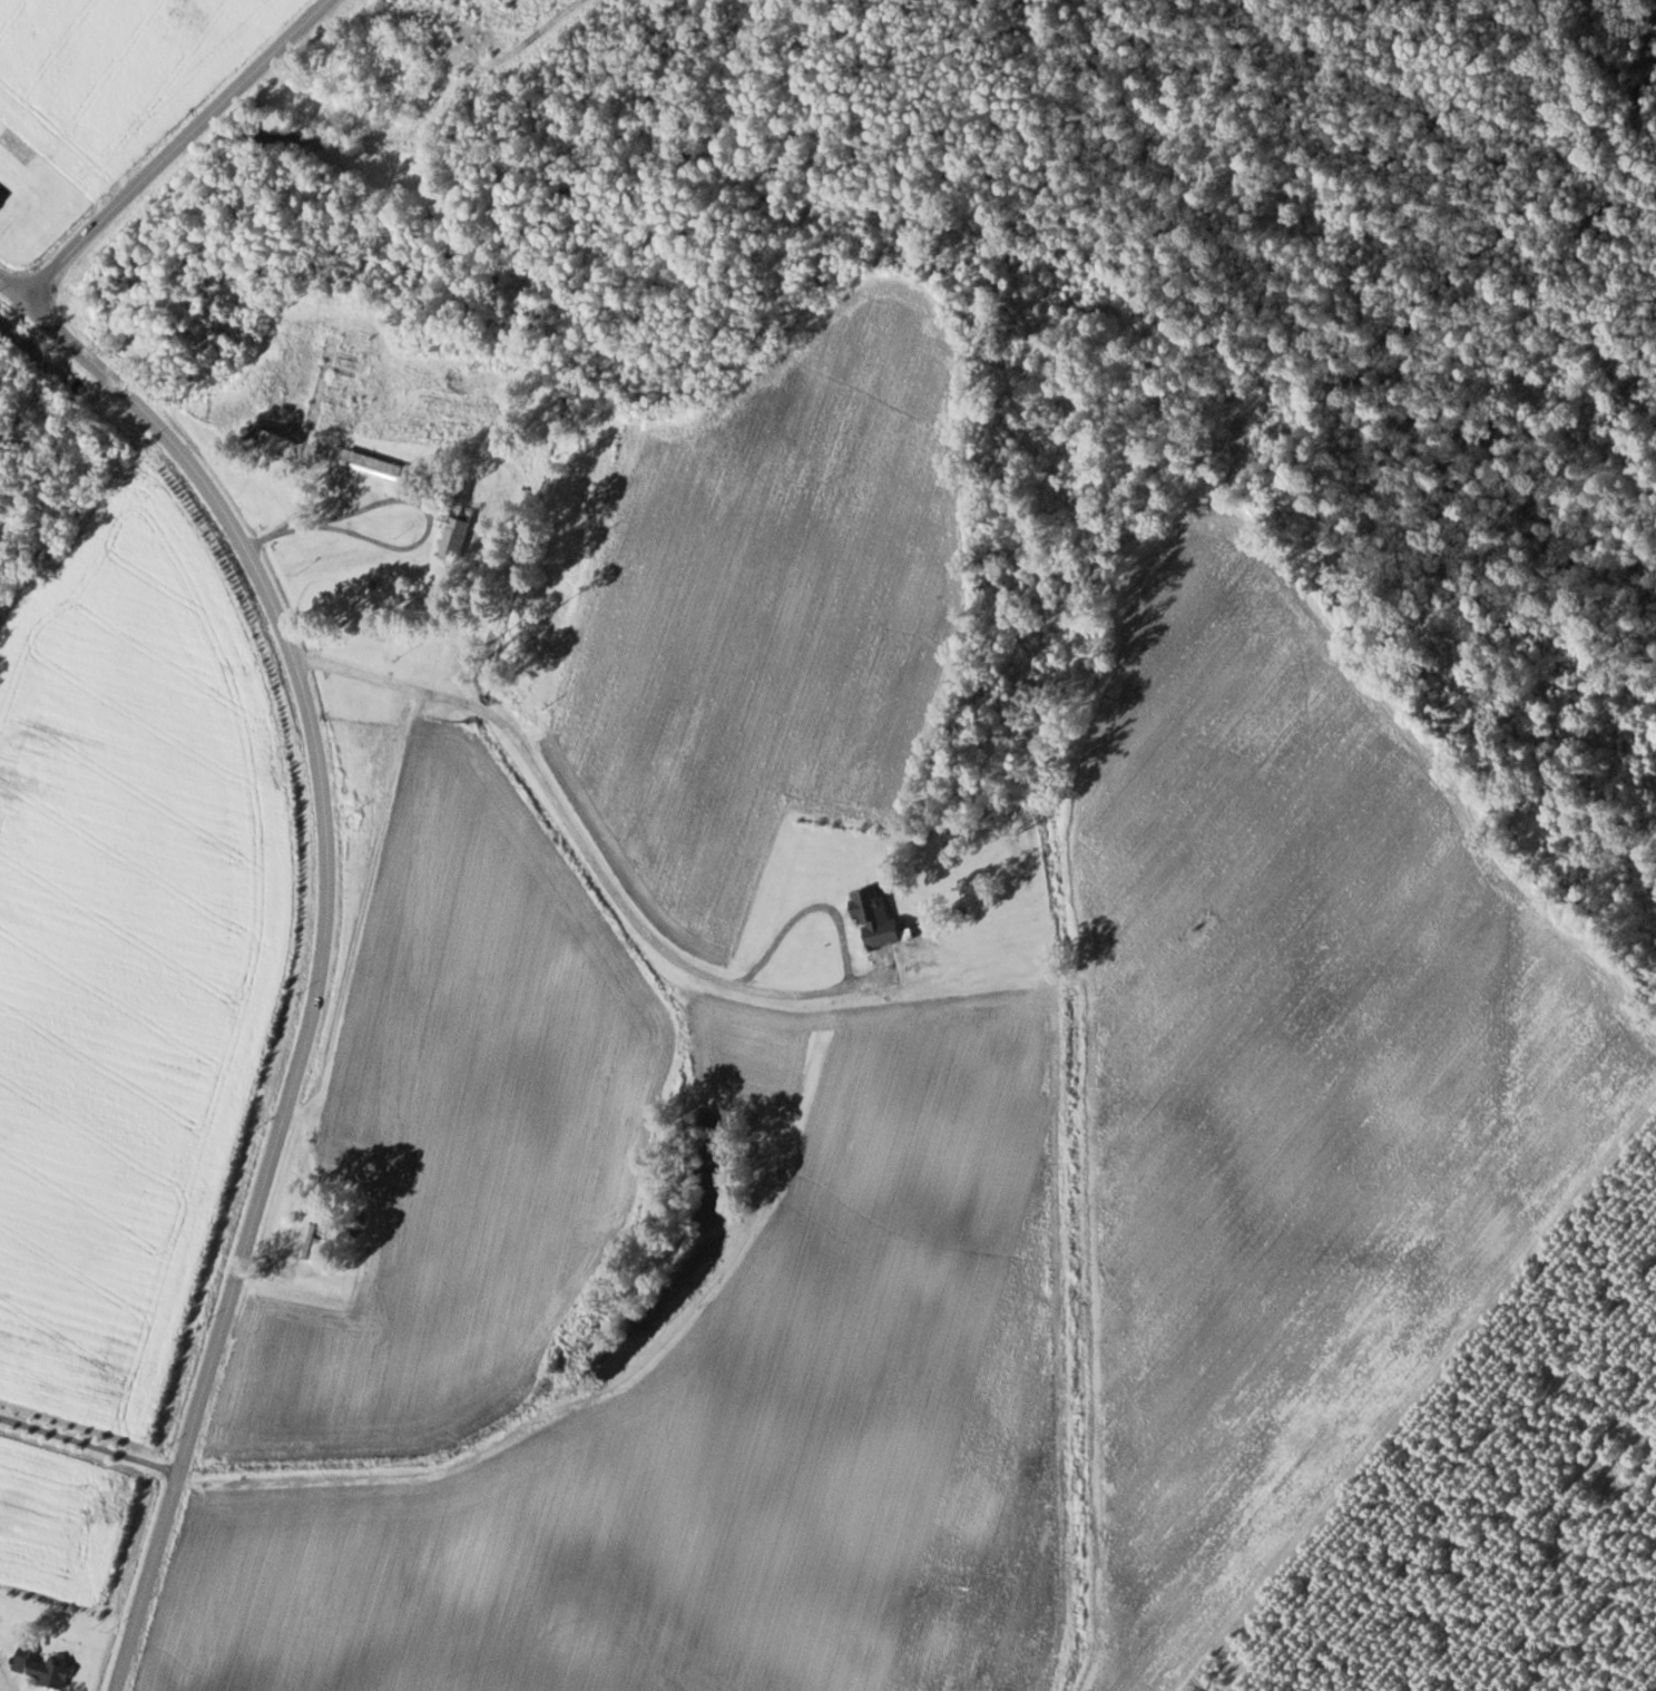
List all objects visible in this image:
road: (175, 148)
building: (325, 356)
building: (354, 409)
building: (266, 443)
building: (371, 465)
building: (454, 532)
road: (630, 913)
building: (871, 917)
road: (323, 941)
building: (307, 1240)
building: (46, 1671)

